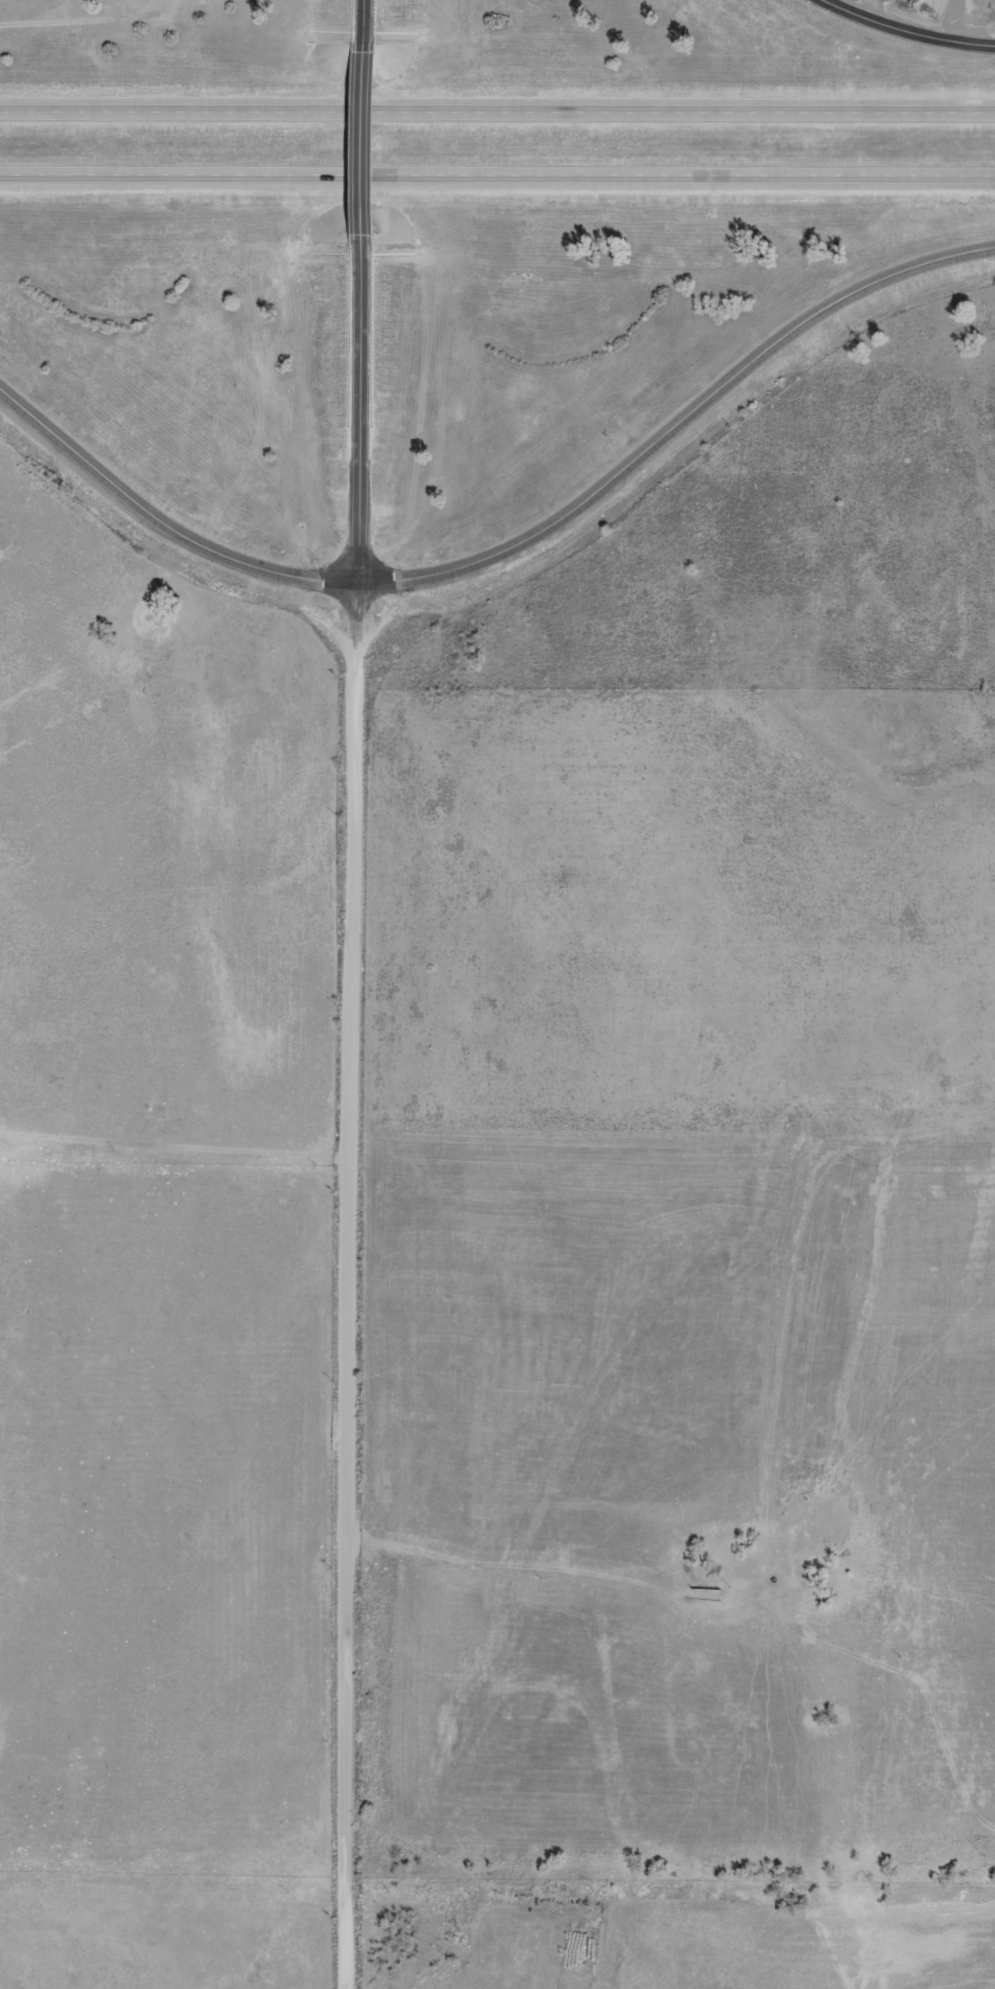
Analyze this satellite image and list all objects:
road: (862, 7)
road: (362, 19)
road: (955, 19)
road: (910, 29)
road: (497, 104)
road: (363, 127)
road: (497, 175)
road: (361, 399)
road: (513, 548)
road: (353, 1286)

